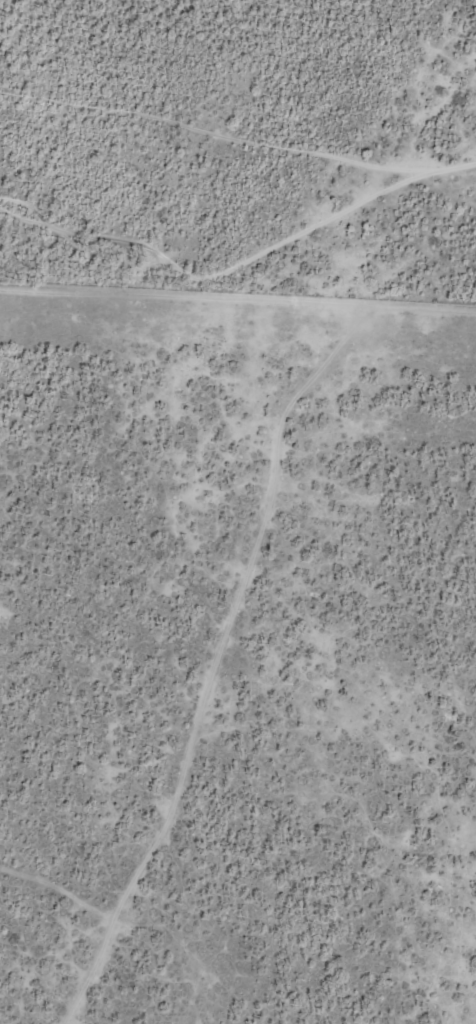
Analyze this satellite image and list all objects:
road: (237, 301)

